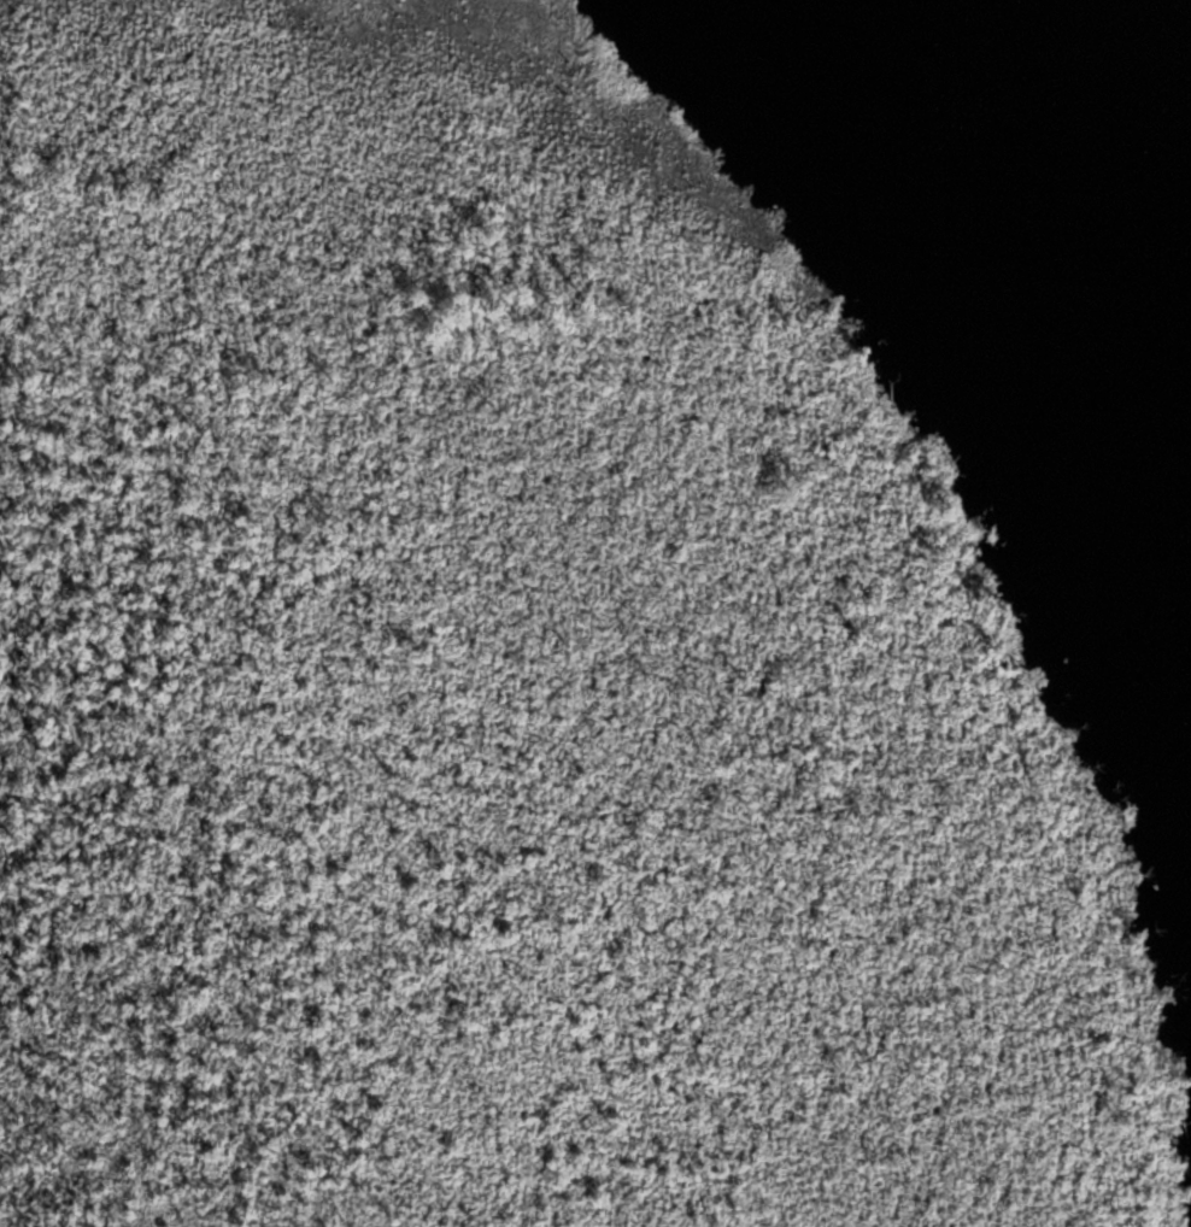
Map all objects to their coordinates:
river: (1035, 136)

